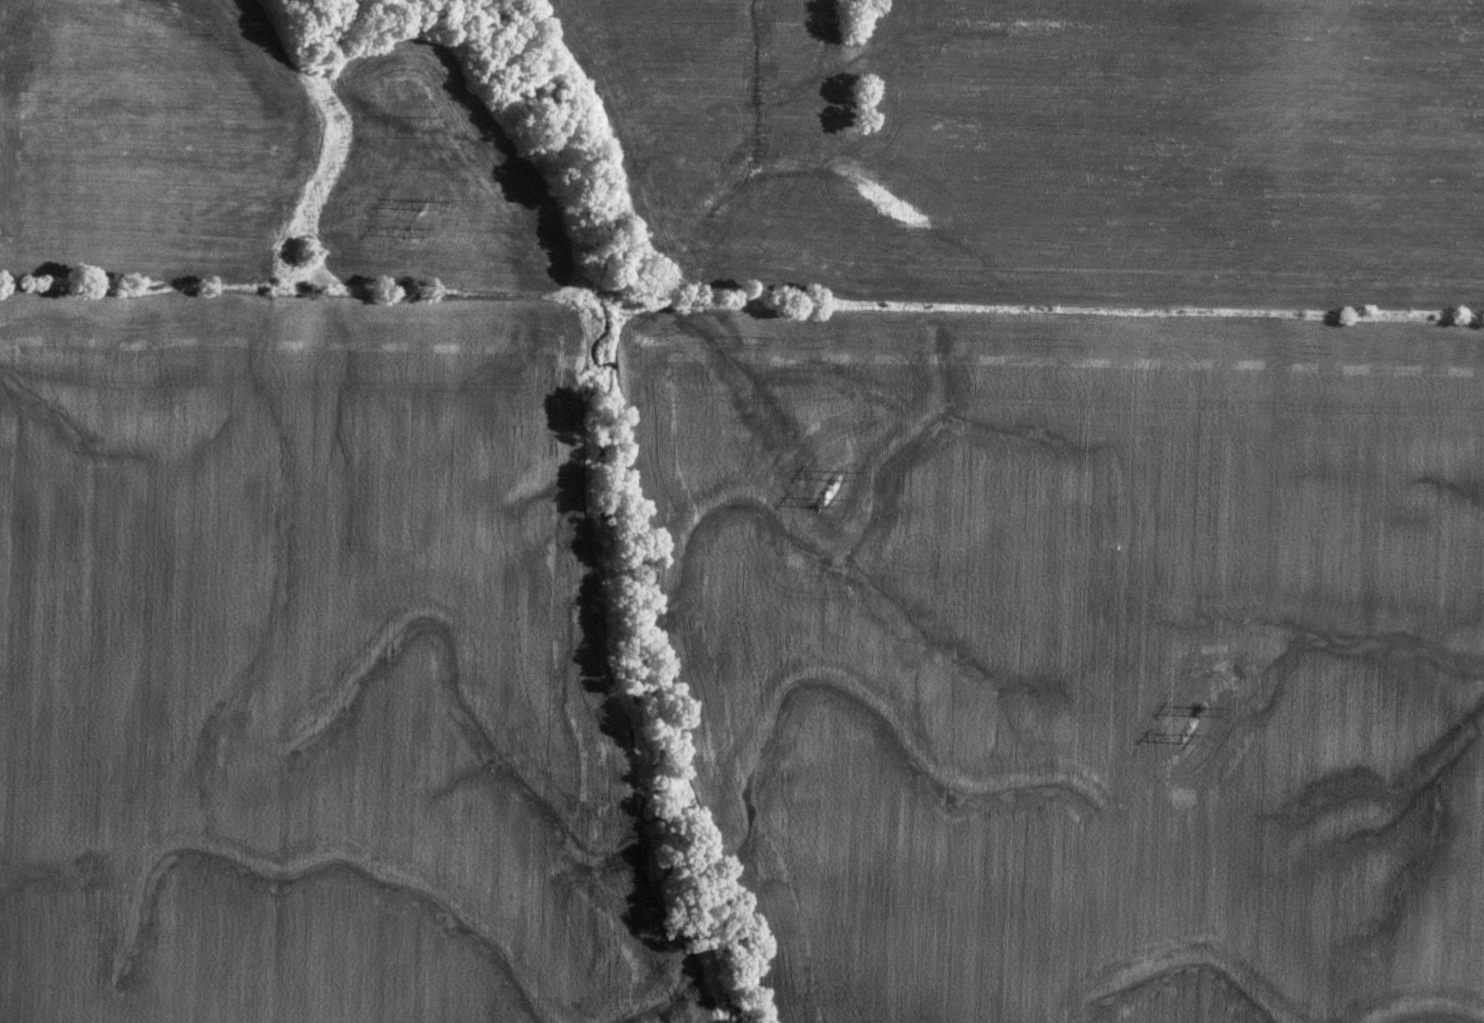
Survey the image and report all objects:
power tower: (413, 206)
power tower: (399, 234)
power tower: (836, 476)
power tower: (807, 501)
power tower: (1199, 715)
power tower: (1182, 742)

